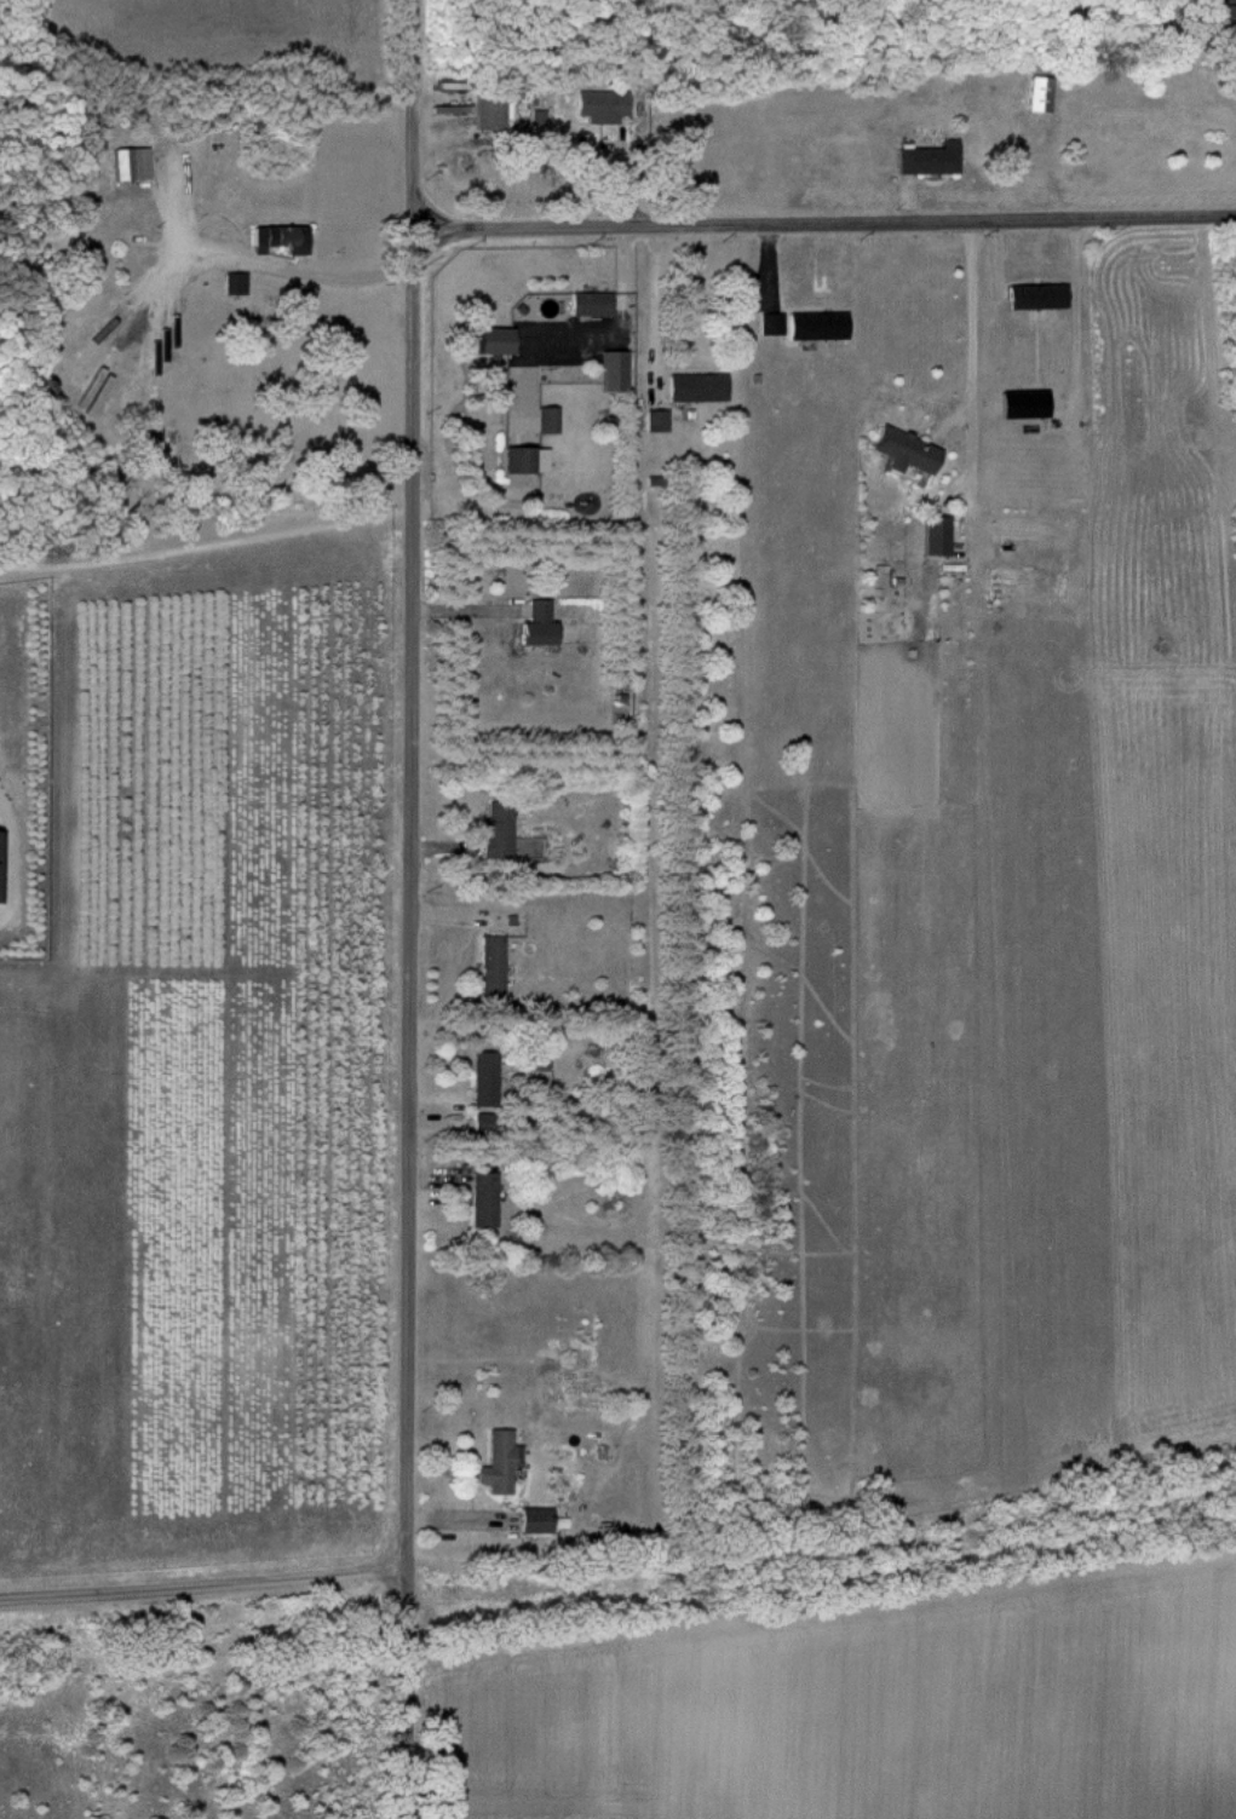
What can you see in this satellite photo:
building: (1221, 16)
road: (1221, 88)
building: (1041, 93)
building: (491, 110)
building: (930, 160)
building: (138, 165)
road: (826, 221)
building: (284, 238)
building: (1040, 295)
building: (593, 303)
building: (772, 323)
building: (820, 324)
building: (499, 340)
building: (617, 370)
building: (699, 387)
building: (1027, 403)
building: (529, 407)
building: (908, 450)
building: (938, 536)
building: (540, 626)
building: (500, 830)
building: (1, 865)
road: (410, 909)
building: (495, 968)
building: (487, 1080)
building: (487, 1198)
building: (500, 1462)
road: (202, 1584)

